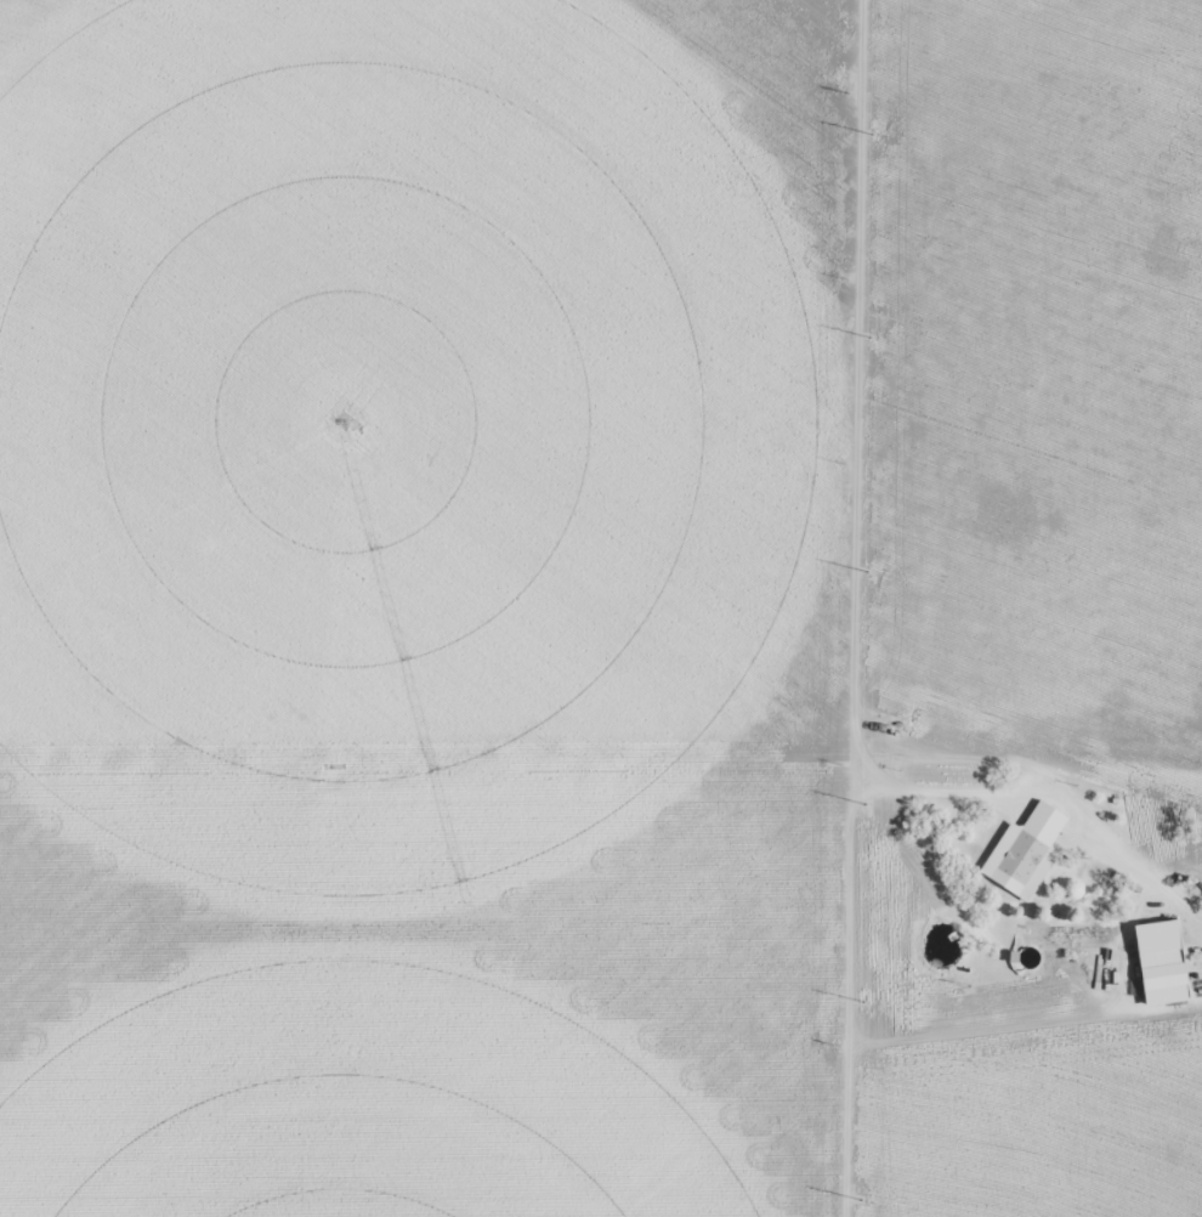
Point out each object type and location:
road: (869, 608)
building: (1025, 851)
building: (1162, 962)

